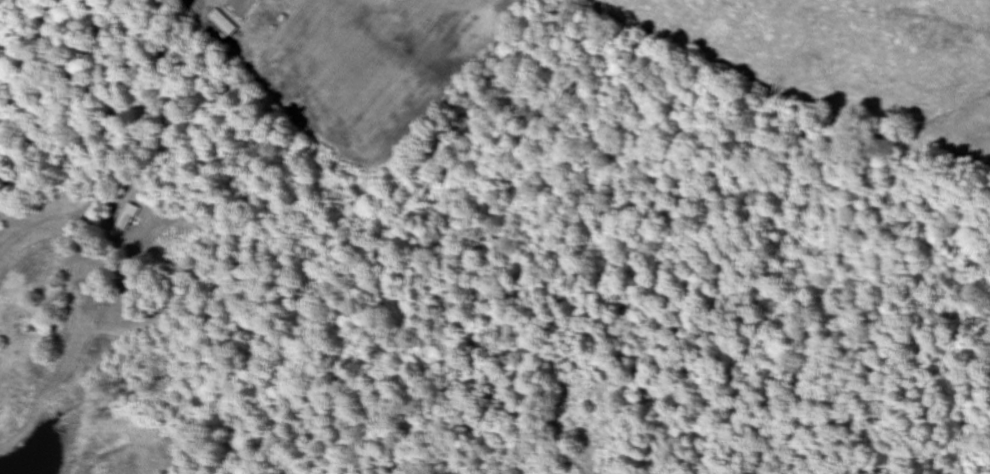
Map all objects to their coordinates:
building: (222, 23)
road: (330, 85)
building: (126, 217)

